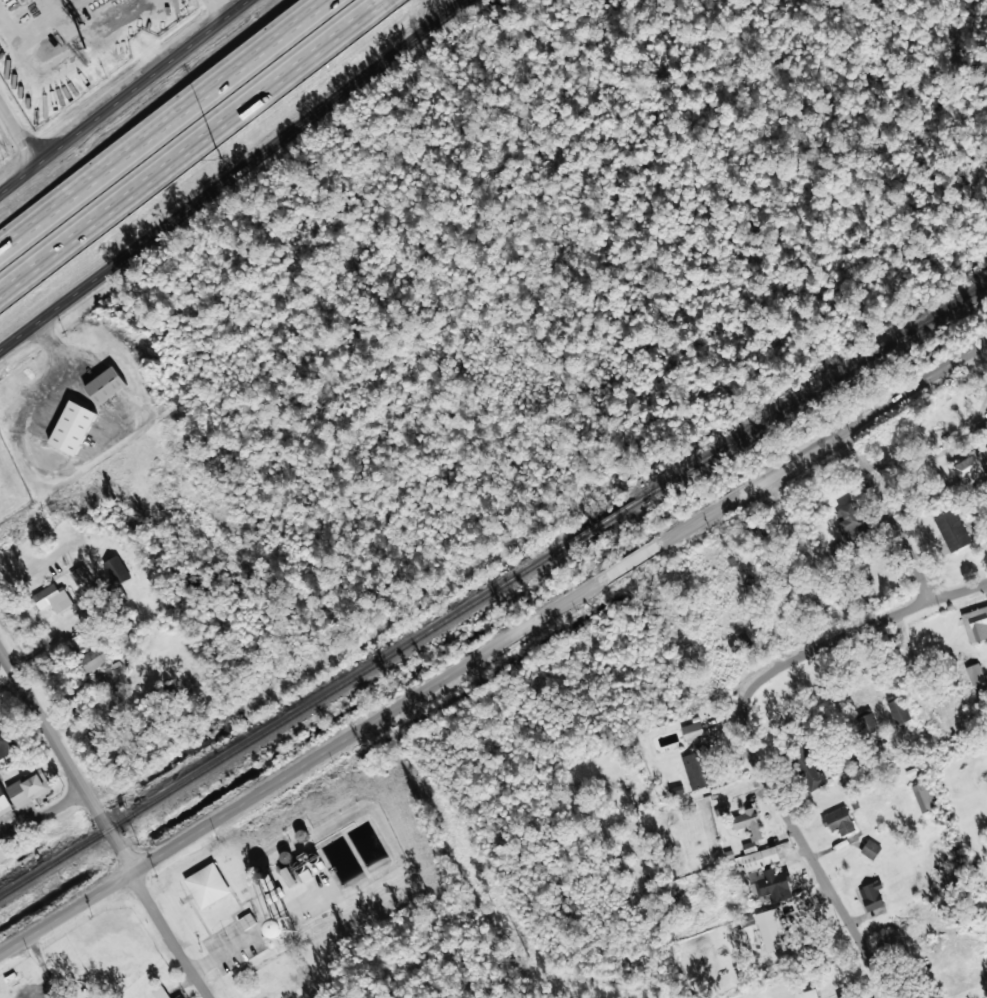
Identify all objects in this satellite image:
road: (428, 14)
road: (122, 96)
road: (160, 126)
road: (18, 133)
road: (180, 134)
road: (231, 176)
building: (105, 386)
building: (72, 428)
road: (951, 436)
building: (970, 468)
road: (884, 514)
building: (848, 527)
building: (951, 530)
road: (17, 563)
building: (115, 570)
building: (80, 574)
railway: (493, 587)
building: (50, 598)
building: (975, 624)
road: (844, 635)
road: (492, 640)
building: (739, 641)
building: (93, 659)
building: (977, 678)
building: (897, 709)
building: (777, 725)
building: (691, 730)
building: (868, 730)
building: (6, 743)
building: (806, 767)
building: (697, 770)
building: (28, 788)
building: (923, 796)
building: (4, 804)
road: (40, 811)
building: (746, 822)
building: (838, 822)
road: (103, 823)
building: (870, 849)
building: (285, 857)
building: (759, 858)
road: (812, 864)
building: (267, 883)
building: (207, 885)
building: (273, 894)
building: (871, 895)
building: (246, 921)
building: (770, 929)
road: (299, 991)
building: (807, 994)
building: (843, 996)
building: (179, 997)

